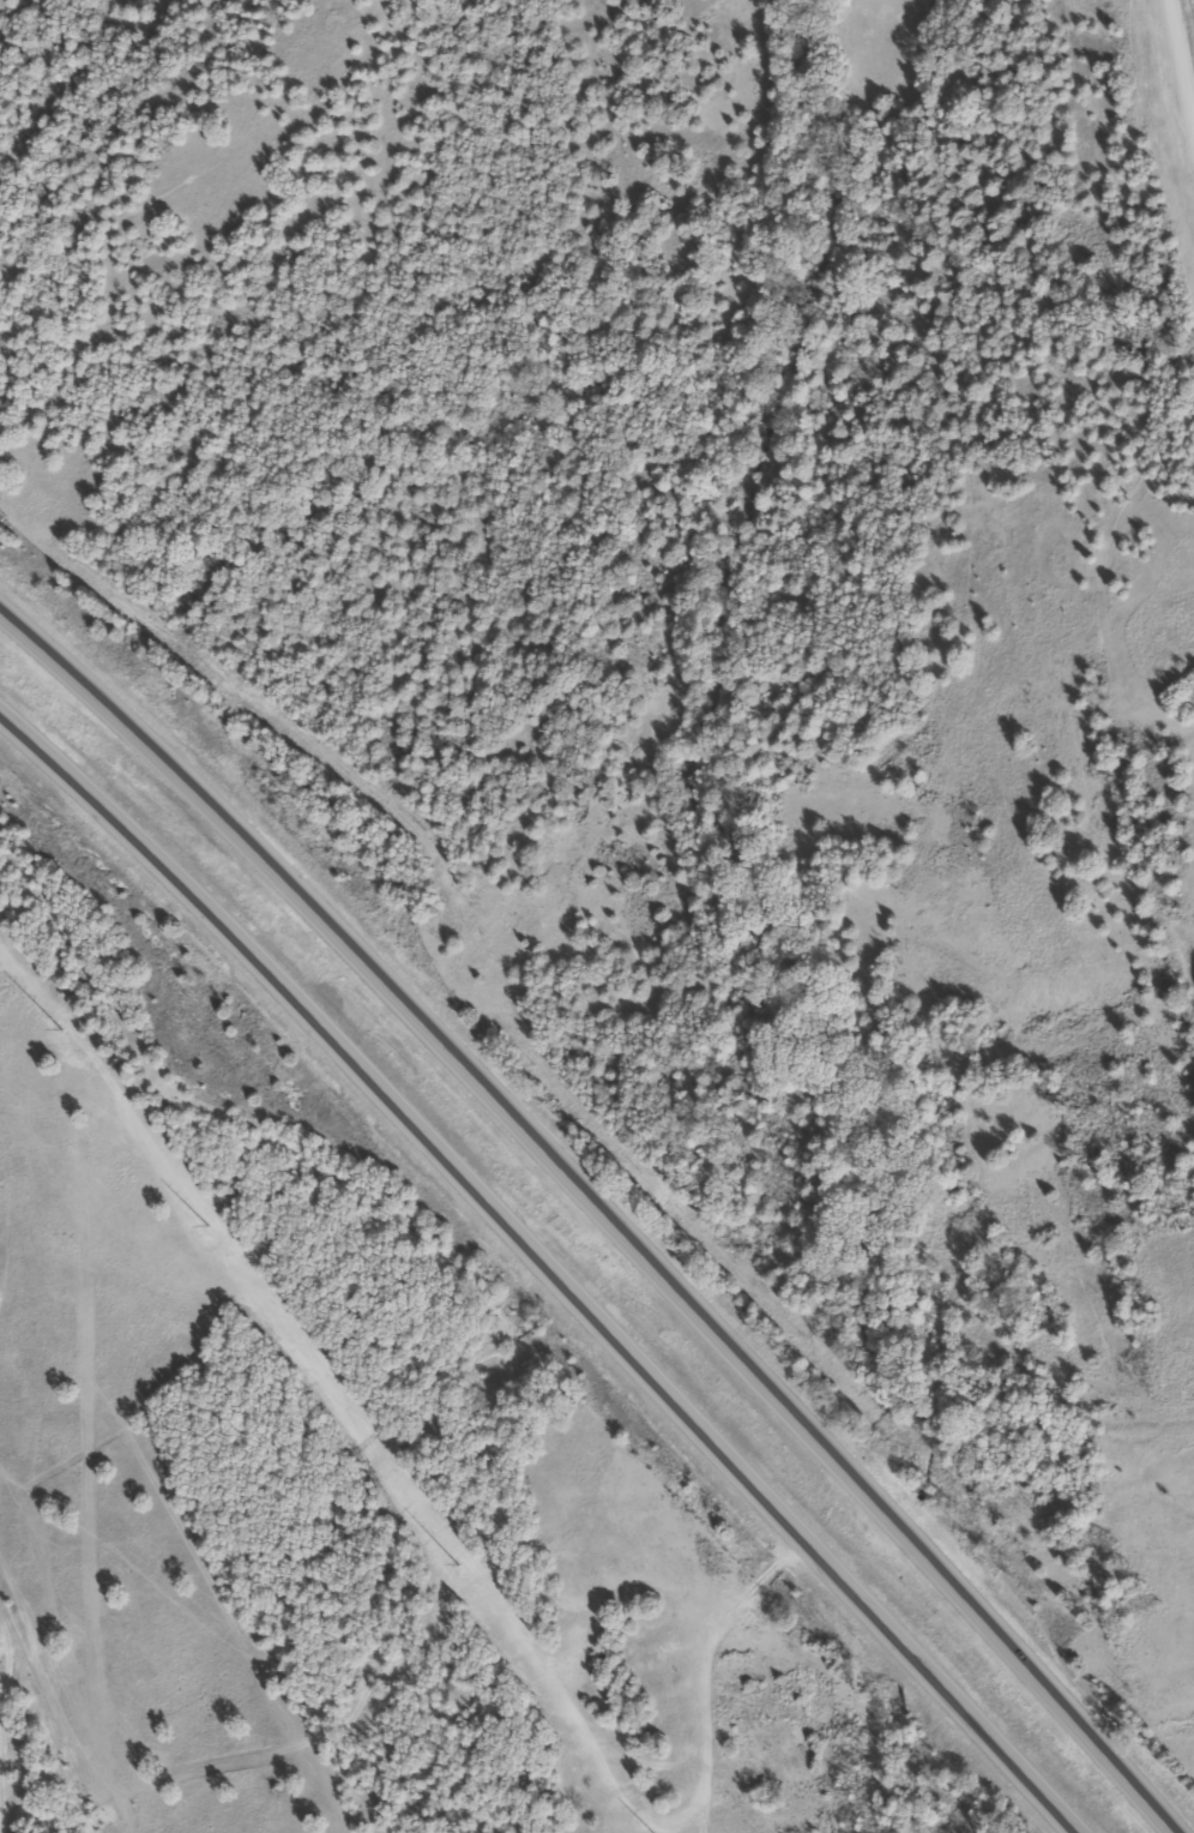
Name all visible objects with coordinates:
road: (1162, 139)
road: (1183, 186)
road: (590, 1208)
road: (541, 1255)

